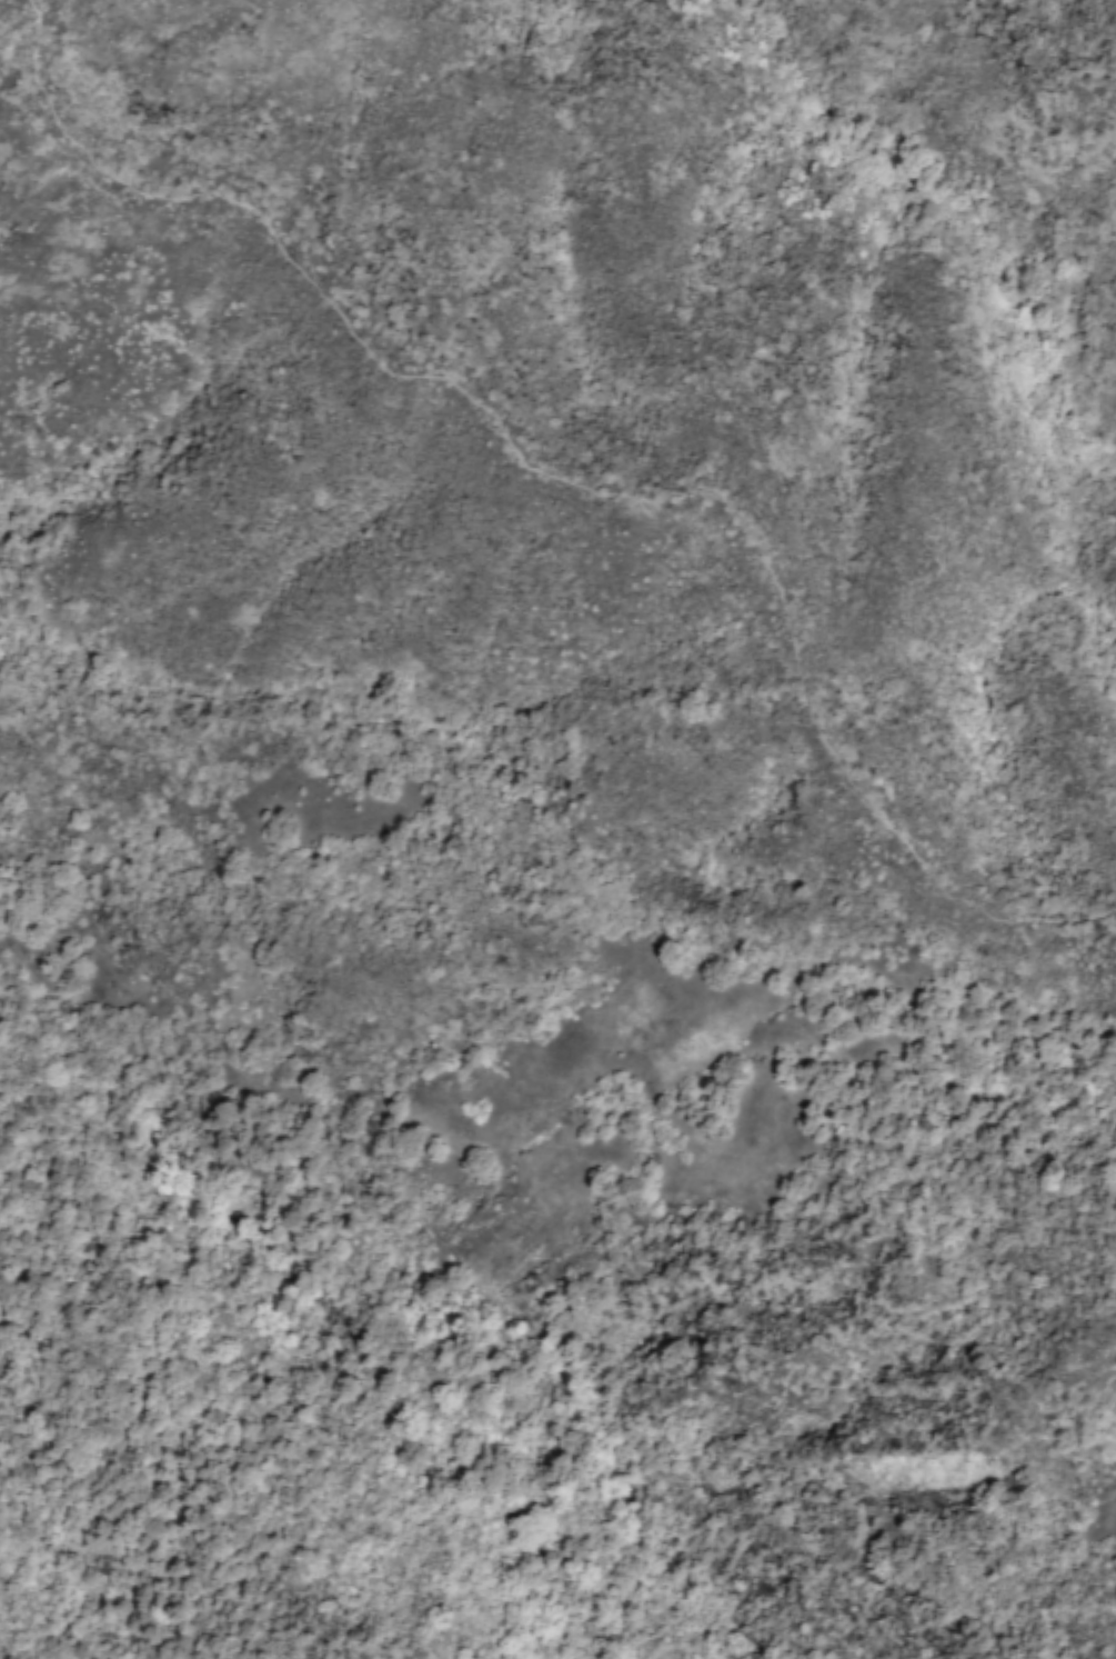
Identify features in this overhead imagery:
road: (570, 484)

